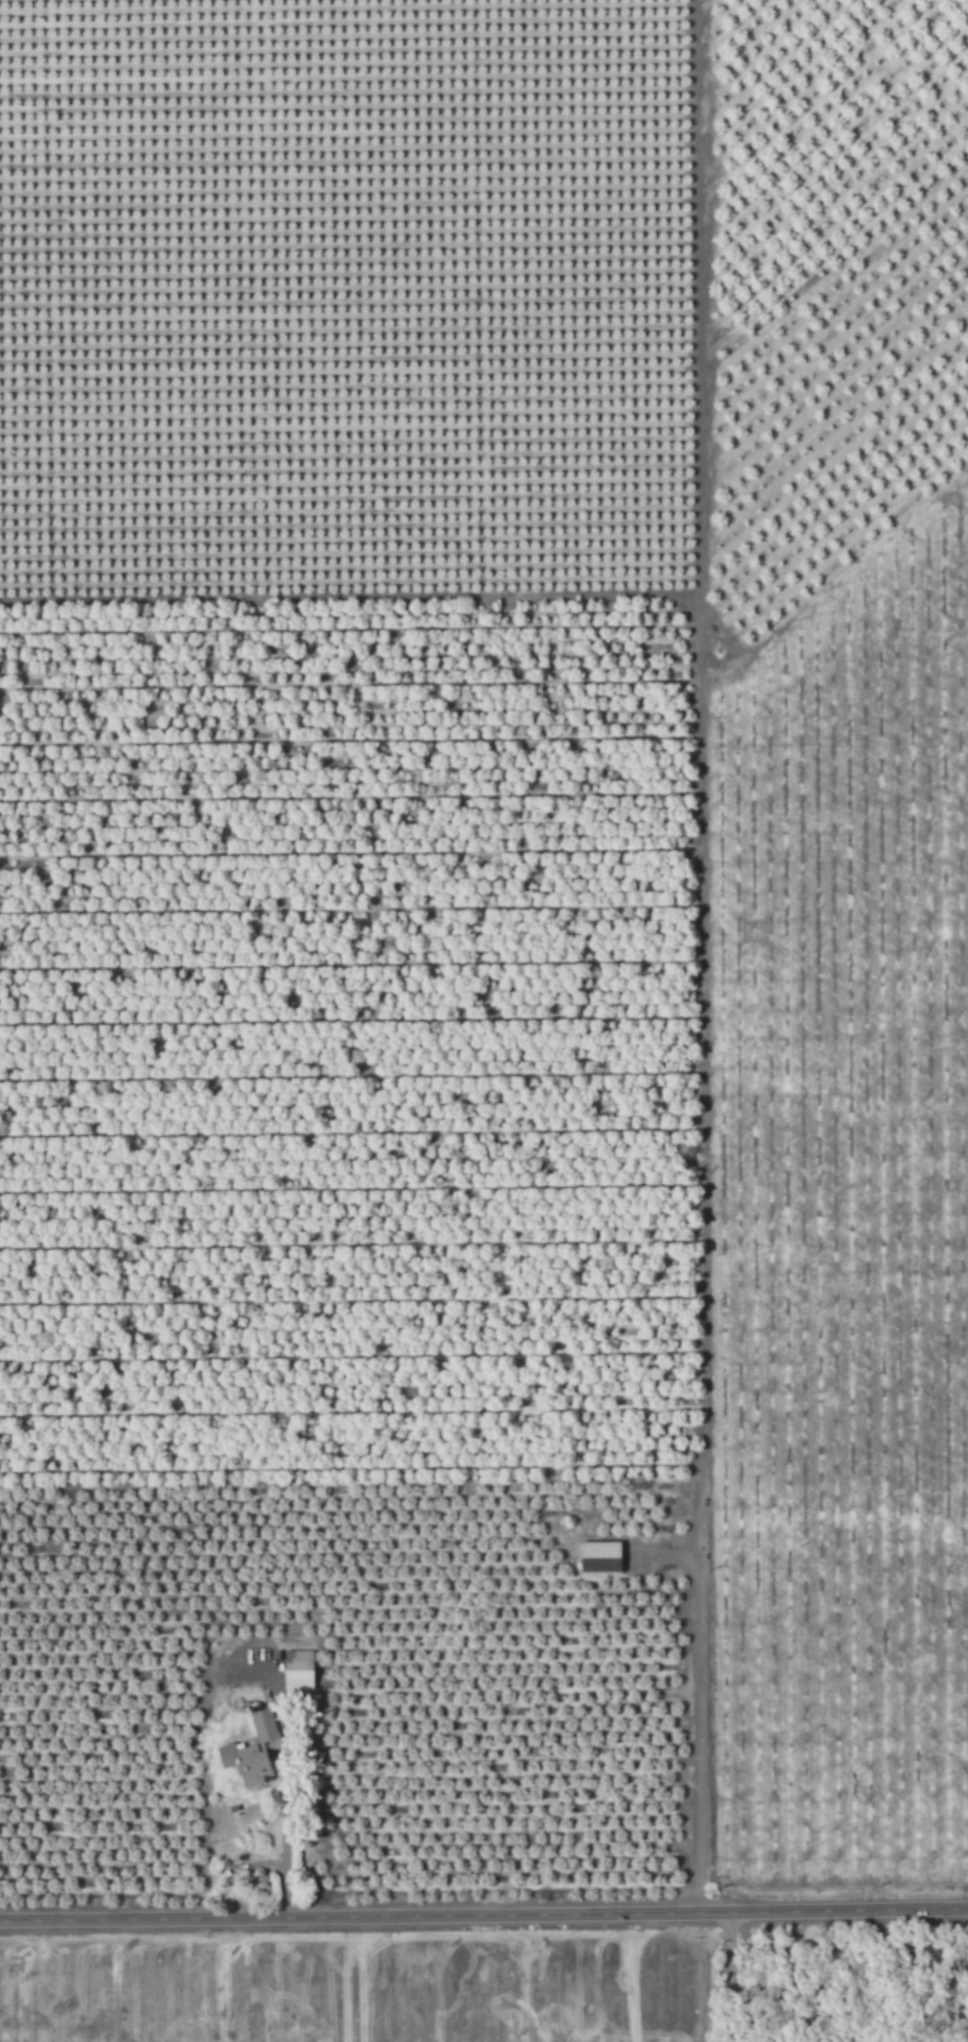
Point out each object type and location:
building: (596, 1552)
building: (299, 1669)
building: (253, 1749)
road: (286, 1811)
road: (484, 1910)

